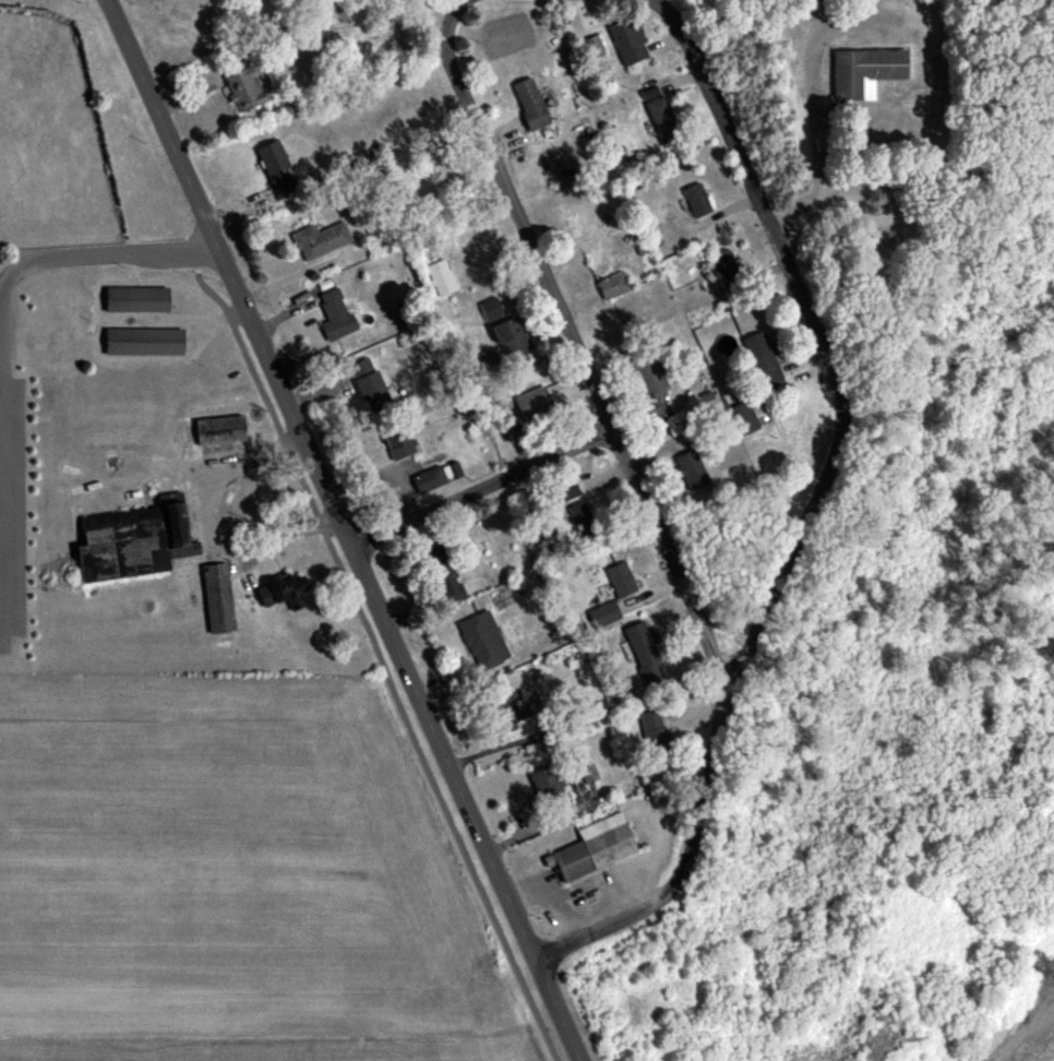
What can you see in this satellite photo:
road: (649, 1)
building: (626, 41)
building: (863, 71)
building: (242, 90)
building: (529, 104)
building: (657, 111)
park: (49, 140)
building: (275, 168)
building: (695, 200)
park: (67, 228)
building: (319, 240)
road: (75, 262)
building: (722, 262)
building: (439, 277)
building: (611, 285)
building: (135, 300)
building: (489, 309)
building: (334, 315)
building: (507, 337)
building: (142, 342)
road: (574, 345)
building: (760, 359)
road: (1, 361)
building: (647, 377)
building: (367, 383)
building: (531, 402)
building: (742, 418)
building: (218, 430)
building: (396, 445)
building: (688, 470)
building: (428, 479)
road: (483, 490)
building: (566, 490)
road: (806, 511)
building: (579, 512)
parking lot: (10, 521)
road: (345, 529)
building: (129, 540)
building: (619, 580)
building: (446, 582)
building: (282, 592)
building: (216, 598)
building: (602, 615)
road: (735, 633)
building: (482, 640)
building: (642, 649)
road: (378, 657)
building: (507, 713)
building: (651, 730)
building: (587, 774)
building: (546, 785)
road: (541, 826)
building: (591, 848)
airport: (274, 1048)

